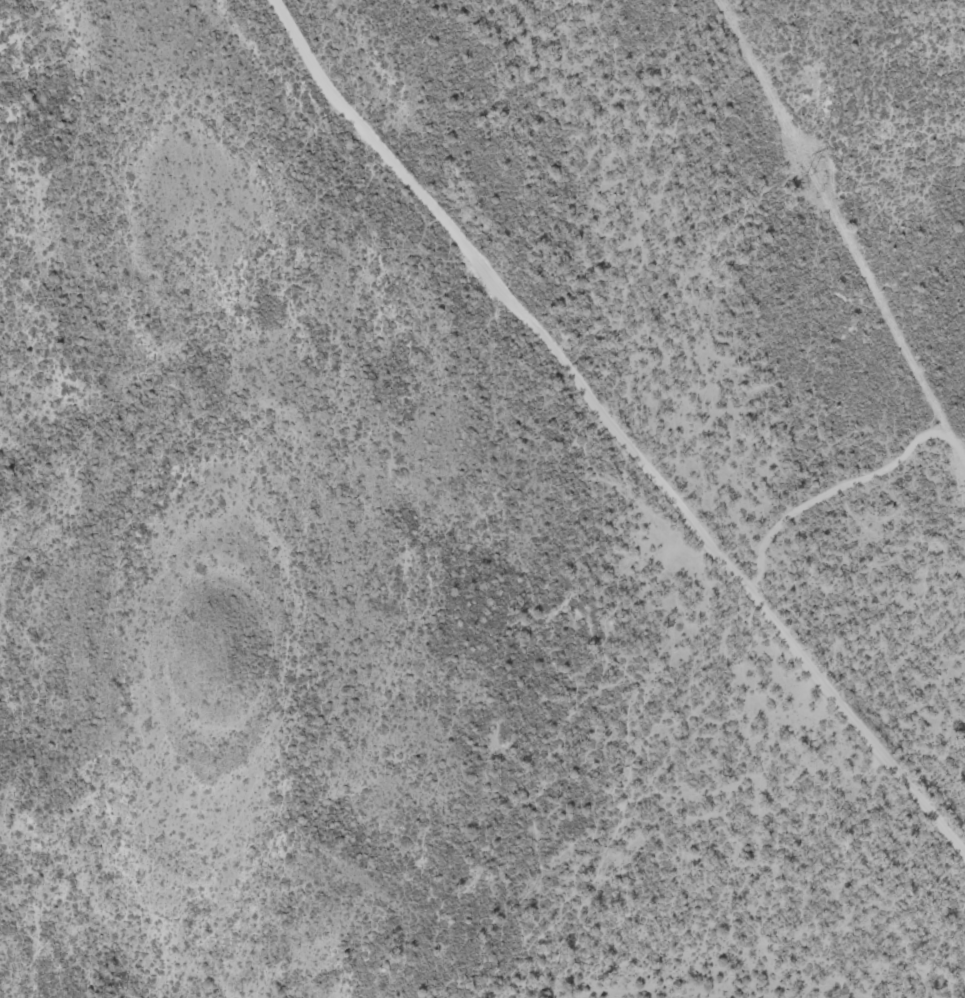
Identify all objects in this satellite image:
power tower: (807, 174)
road: (618, 428)

